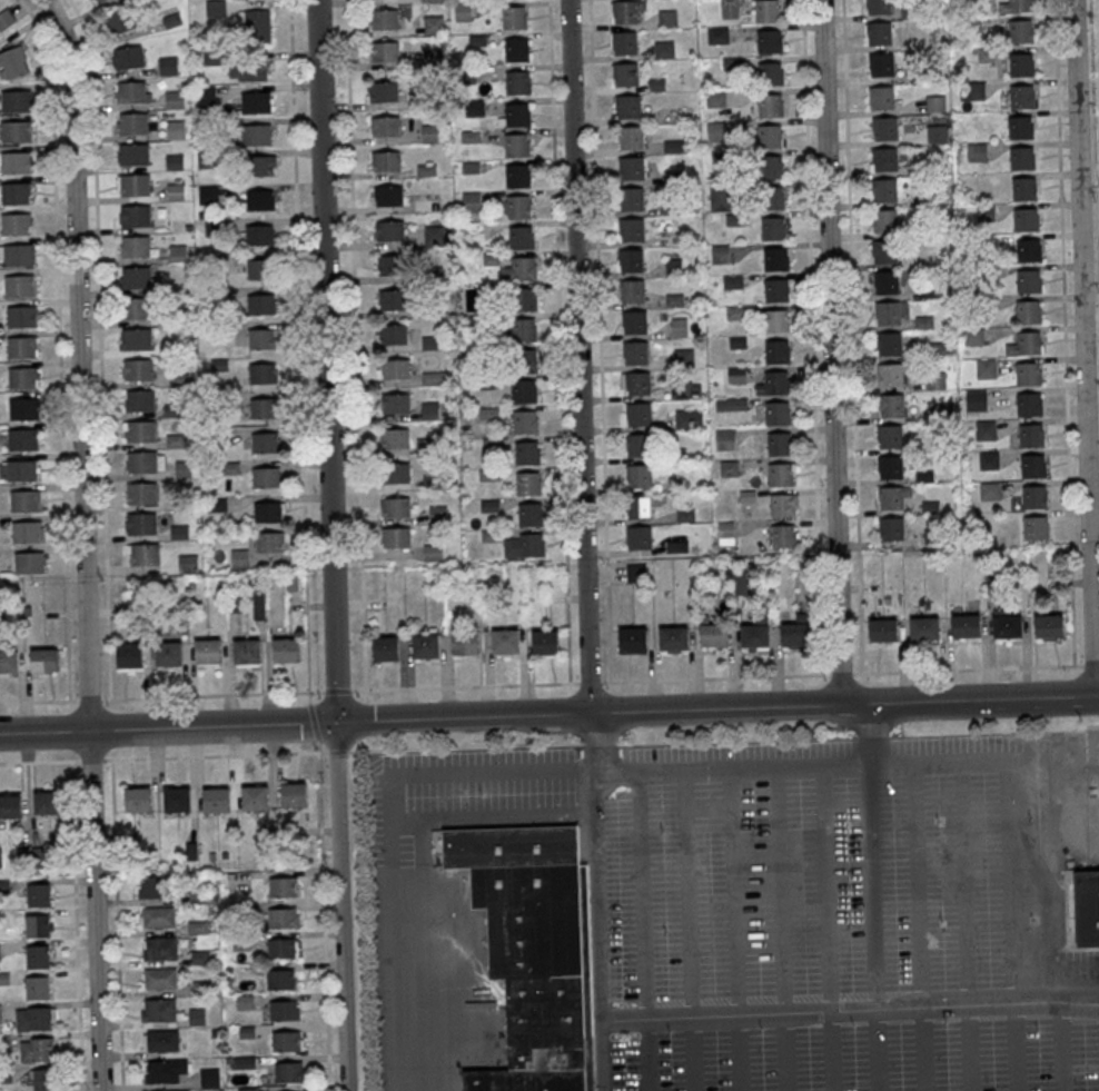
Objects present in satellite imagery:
building: (432, 0)
building: (100, 1)
building: (1020, 6)
building: (215, 7)
building: (880, 7)
building: (729, 9)
building: (768, 10)
building: (463, 11)
building: (624, 11)
building: (515, 18)
building: (6, 19)
building: (384, 19)
building: (667, 19)
building: (117, 22)
building: (433, 24)
building: (255, 26)
building: (1021, 31)
building: (880, 32)
building: (717, 36)
building: (769, 41)
building: (624, 42)
building: (516, 49)
building: (664, 49)
building: (385, 51)
building: (984, 54)
building: (433, 56)
building: (128, 57)
building: (13, 62)
building: (1021, 63)
building: (882, 65)
building: (168, 66)
building: (248, 70)
building: (771, 72)
building: (625, 73)
building: (518, 82)
building: (131, 91)
building: (383, 91)
building: (205, 96)
building: (1022, 97)
building: (881, 98)
building: (175, 99)
building: (17, 101)
building: (256, 101)
building: (935, 103)
building: (771, 105)
building: (627, 106)
building: (517, 115)
building: (132, 123)
building: (385, 127)
building: (1021, 127)
building: (883, 128)
building: (176, 129)
building: (17, 131)
building: (256, 133)
building: (935, 133)
building: (769, 136)
building: (630, 137)
building: (516, 145)
building: (132, 155)
building: (1021, 158)
building: (884, 159)
building: (386, 161)
building: (17, 162)
building: (174, 162)
building: (264, 165)
building: (770, 167)
building: (631, 168)
building: (518, 176)
building: (133, 185)
building: (1024, 188)
building: (883, 189)
building: (176, 191)
building: (17, 194)
building: (389, 196)
building: (721, 197)
building: (772, 198)
building: (259, 199)
building: (631, 199)
building: (471, 201)
building: (518, 207)
building: (986, 212)
building: (136, 216)
building: (1026, 219)
building: (884, 220)
building: (17, 224)
building: (773, 228)
building: (389, 230)
building: (631, 230)
building: (260, 234)
building: (433, 235)
building: (521, 238)
building: (133, 246)
building: (885, 250)
building: (1029, 250)
building: (178, 252)
building: (720, 254)
building: (19, 255)
building: (775, 259)
building: (630, 260)
building: (393, 265)
building: (673, 266)
building: (523, 268)
building: (258, 269)
building: (136, 277)
building: (733, 281)
building: (1029, 281)
building: (885, 282)
building: (19, 286)
building: (632, 290)
building: (778, 290)
building: (392, 299)
building: (524, 299)
building: (260, 304)
building: (136, 308)
building: (889, 311)
building: (1029, 311)
building: (735, 313)
building: (22, 316)
building: (924, 319)
building: (775, 320)
building: (633, 321)
building: (679, 327)
building: (523, 329)
road: (1065, 331)
building: (393, 334)
road: (812, 336)
road: (852, 336)
building: (973, 336)
building: (261, 337)
building: (137, 339)
road: (600, 340)
road: (558, 341)
building: (1029, 343)
building: (889, 344)
road: (59, 345)
road: (355, 345)
road: (298, 346)
building: (22, 347)
road: (100, 347)
road: (1082, 348)
building: (935, 350)
building: (778, 351)
road: (830, 351)
building: (635, 353)
road: (578, 356)
building: (683, 357)
road: (325, 360)
building: (524, 360)
building: (987, 368)
building: (138, 369)
building: (396, 369)
building: (263, 373)
building: (890, 374)
building: (1029, 374)
building: (736, 375)
building: (435, 377)
building: (23, 378)
building: (935, 380)
building: (635, 383)
building: (776, 383)
building: (685, 389)
building: (524, 391)
building: (140, 400)
building: (976, 400)
building: (396, 404)
building: (731, 404)
building: (891, 405)
building: (1030, 405)
building: (264, 406)
building: (23, 408)
building: (943, 410)
building: (776, 413)
building: (638, 414)
building: (689, 418)
building: (525, 421)
building: (986, 429)
building: (141, 430)
building: (1031, 435)
building: (724, 436)
building: (890, 436)
building: (395, 437)
building: (22, 439)
building: (265, 442)
building: (780, 443)
building: (636, 445)
building: (527, 453)
building: (989, 459)
building: (141, 462)
building: (889, 466)
building: (1033, 466)
building: (23, 469)
building: (396, 473)
building: (781, 474)
building: (637, 475)
building: (273, 476)
building: (527, 484)
building: (990, 490)
building: (141, 494)
building: (890, 497)
building: (1036, 497)
building: (26, 500)
building: (783, 505)
building: (396, 506)
building: (638, 506)
building: (268, 510)
building: (529, 514)
building: (684, 515)
building: (141, 524)
building: (1036, 527)
building: (891, 528)
building: (27, 532)
building: (726, 532)
building: (784, 536)
building: (397, 537)
building: (638, 537)
road: (82, 542)
building: (270, 542)
building: (523, 545)
building: (433, 553)
building: (142, 555)
building: (30, 563)
building: (636, 572)
building: (235, 602)
building: (258, 604)
building: (1007, 623)
building: (967, 625)
building: (1049, 626)
building: (924, 627)
building: (883, 629)
building: (795, 634)
building: (714, 635)
building: (754, 635)
building: (673, 637)
building: (632, 639)
building: (465, 641)
building: (505, 641)
building: (545, 642)
building: (425, 645)
building: (386, 648)
building: (286, 649)
building: (207, 651)
building: (246, 651)
building: (168, 653)
building: (130, 655)
building: (9, 659)
building: (44, 659)
road: (1091, 664)
road: (968, 667)
road: (841, 672)
road: (415, 687)
road: (1096, 696)
road: (980, 700)
road: (853, 703)
road: (714, 707)
road: (463, 716)
traffic signals: (335, 722)
road: (167, 728)
road: (869, 733)
road: (297, 753)
road: (959, 761)
road: (472, 774)
building: (294, 795)
building: (255, 796)
building: (216, 799)
building: (138, 800)
building: (176, 800)
building: (47, 802)
building: (11, 805)
road: (1050, 817)
street lamp: (939, 822)
street lamp: (1031, 823)
street lamp: (846, 826)
street lamp: (754, 827)
street lamp: (663, 830)
road: (598, 866)
building: (157, 886)
building: (283, 886)
building: (37, 894)
parking lot: (795, 903)
road: (339, 906)
building: (1087, 906)
building: (158, 918)
building: (283, 918)
road: (324, 922)
street lamp: (850, 923)
street lamp: (943, 924)
road: (1011, 924)
building: (38, 925)
road: (76, 925)
road: (117, 925)
road: (967, 925)
road: (918, 926)
street lamp: (759, 928)
road: (780, 928)
road: (826, 928)
road: (873, 928)
road: (643, 930)
road: (689, 930)
road: (734, 930)
street lamp: (665, 933)
road: (1055, 940)
building: (160, 948)
building: (281, 948)
building: (0, 951)
building: (529, 953)
building: (38, 956)
building: (160, 979)
building: (280, 979)
building: (38, 988)
road: (1088, 1001)
road: (1067, 1002)
road: (1088, 1005)
building: (160, 1010)
building: (285, 1010)
road: (830, 1011)
building: (0, 1013)
building: (197, 1016)
building: (33, 1019)
street lamp: (945, 1030)
street lamp: (1037, 1031)
street lamp: (854, 1032)
street lamp: (761, 1037)
building: (287, 1040)
building: (160, 1041)
street lamp: (670, 1043)
road: (1059, 1047)
building: (38, 1050)
road: (603, 1057)
building: (162, 1071)
building: (289, 1071)
building: (209, 1077)
building: (46, 1080)
building: (167, 1090)

